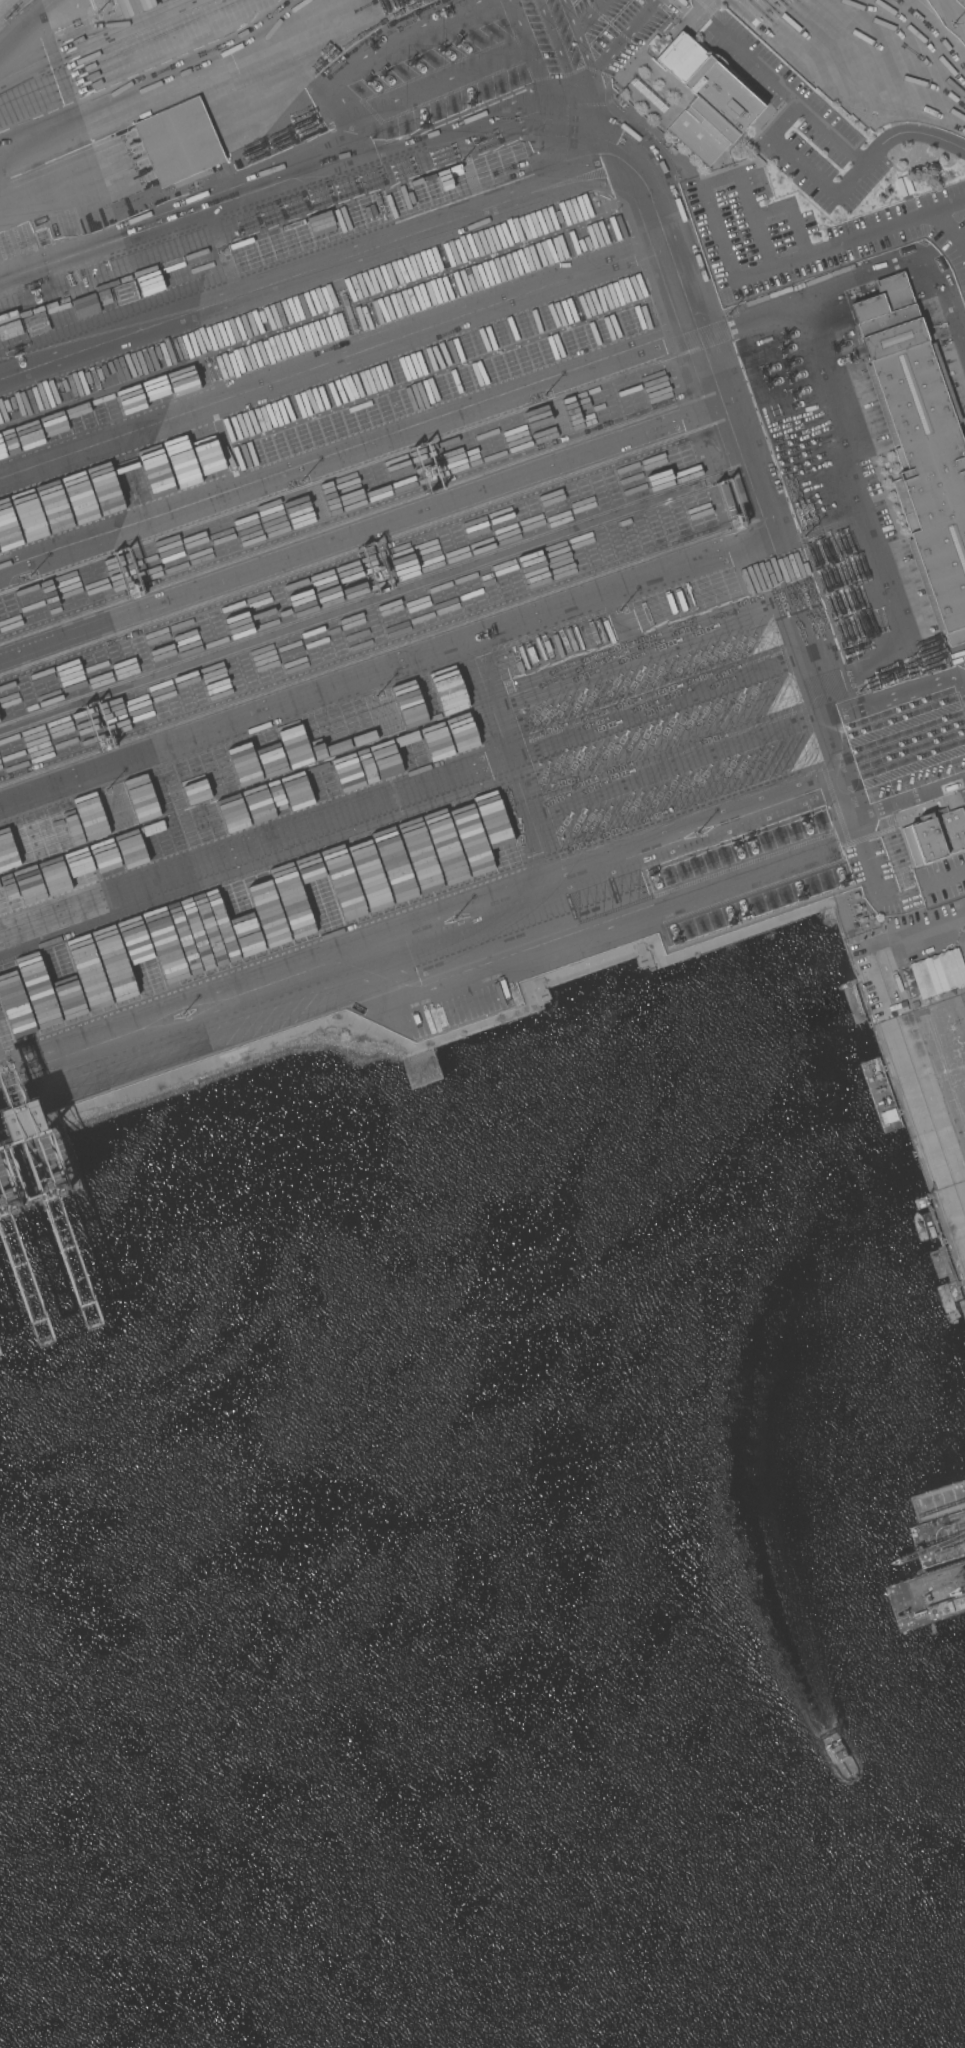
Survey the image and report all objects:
building: (739, 1)
road: (753, 68)
road: (8, 71)
building: (706, 99)
road: (936, 139)
building: (179, 144)
road: (785, 151)
road: (701, 185)
building: (902, 186)
road: (649, 213)
road: (948, 230)
road: (867, 233)
road: (311, 268)
road: (330, 361)
building: (920, 445)
road: (346, 456)
road: (851, 464)
road: (358, 534)
road: (381, 673)
building: (934, 837)
road: (943, 877)
parking lot: (941, 879)
road: (420, 921)
building: (643, 956)
building: (539, 993)

